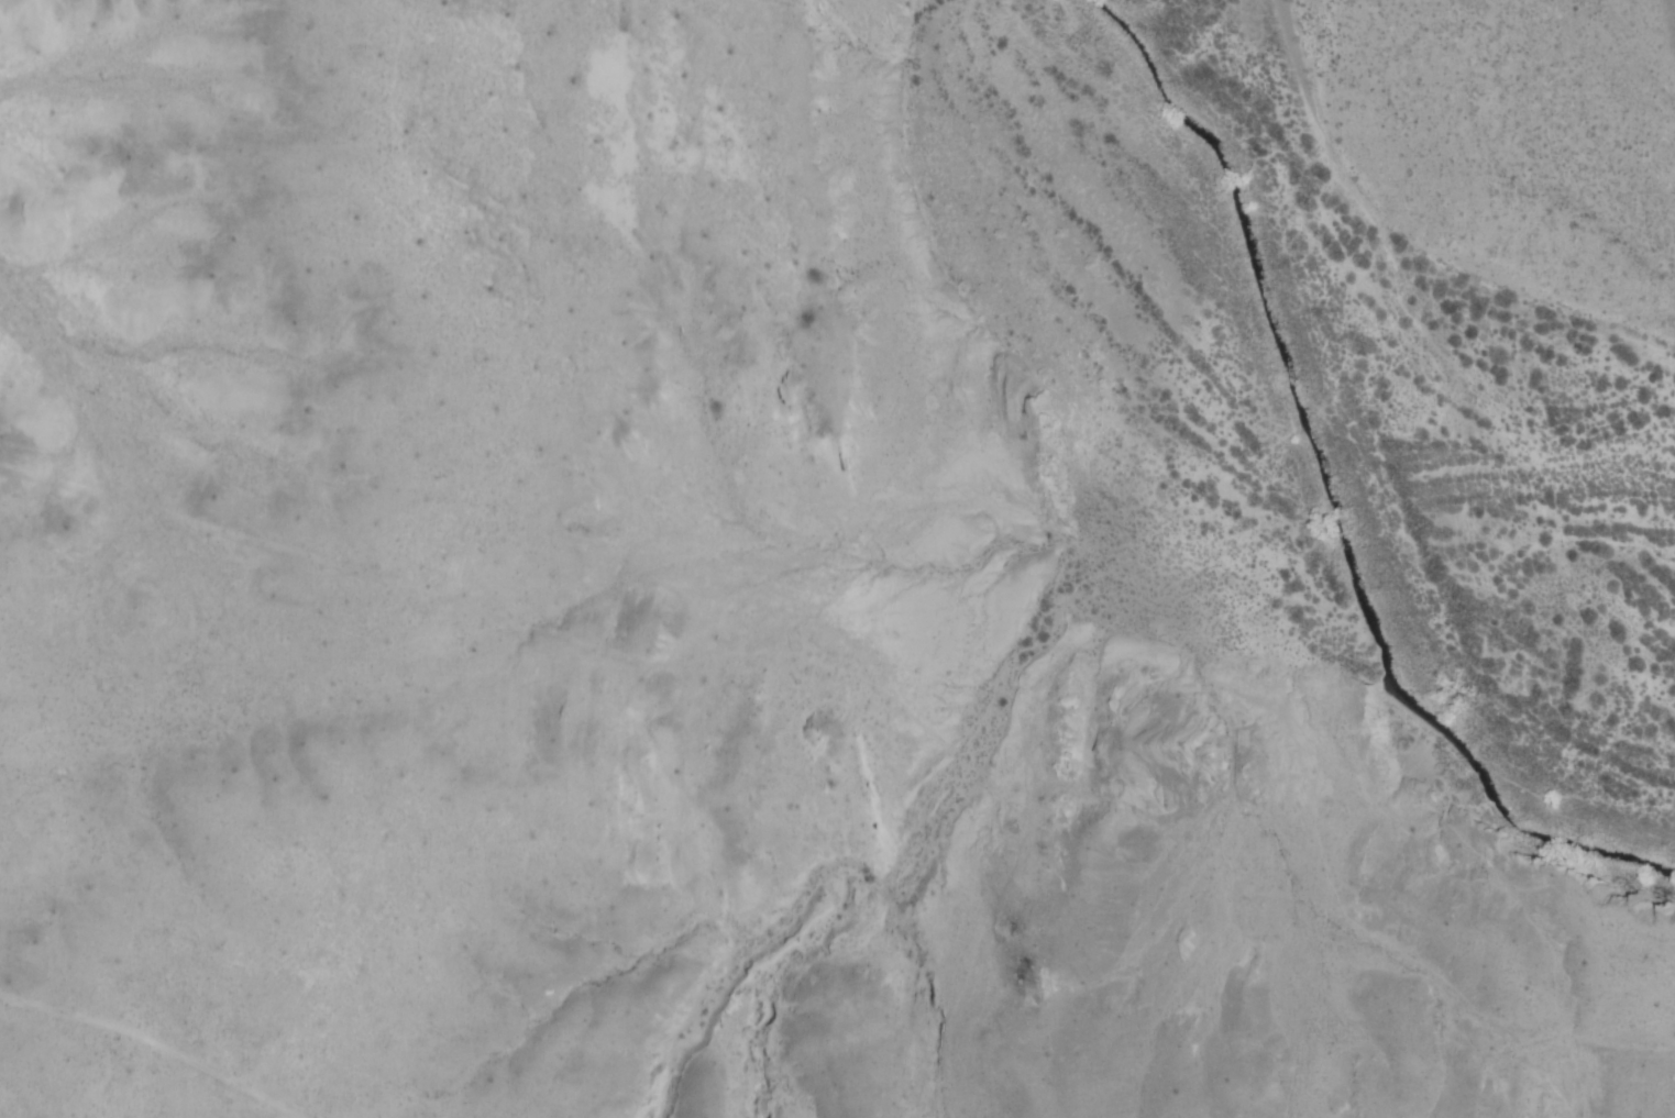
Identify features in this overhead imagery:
river: (1329, 492)

